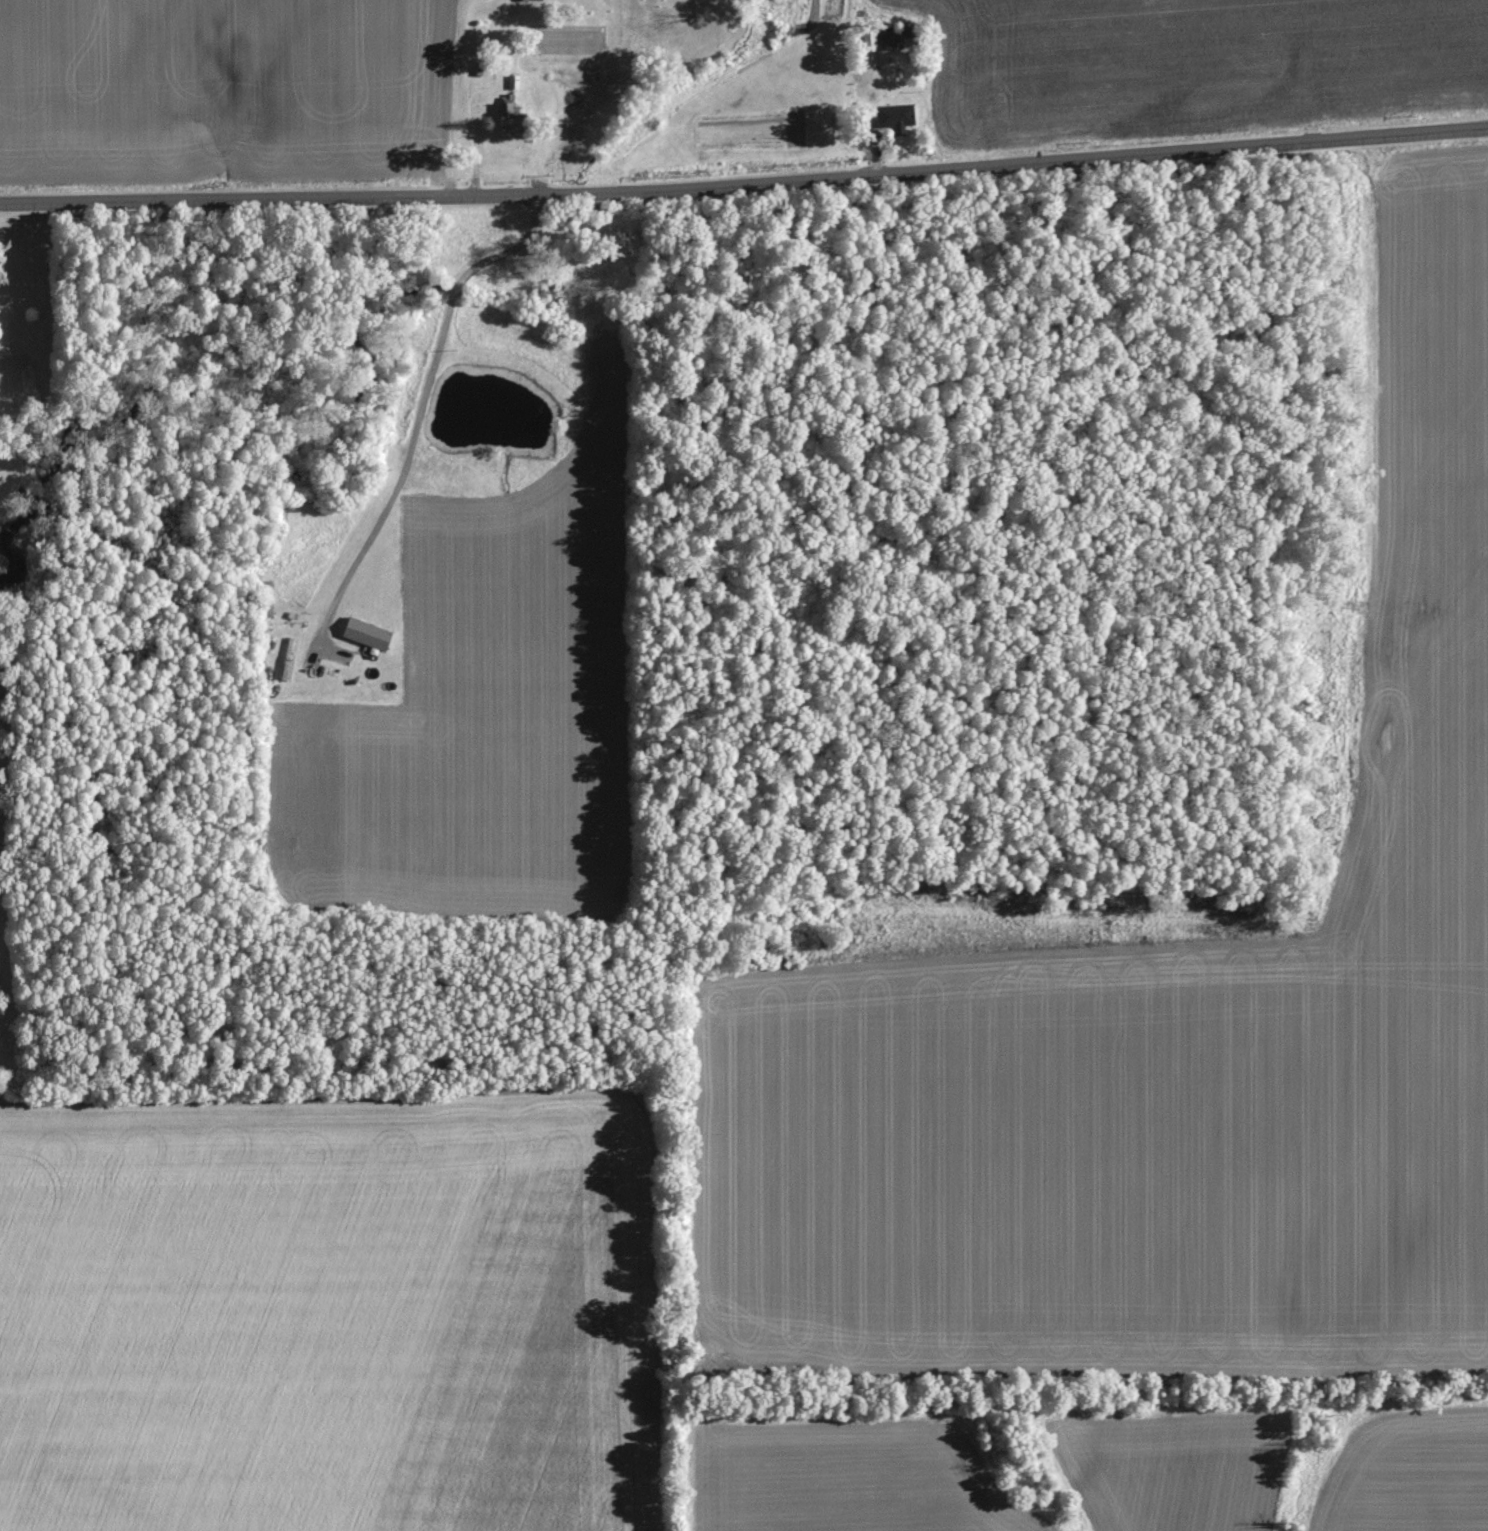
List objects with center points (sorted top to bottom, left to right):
road: (451, 98)
building: (895, 115)
road: (1076, 161)
road: (332, 198)
road: (422, 405)
building: (367, 633)

